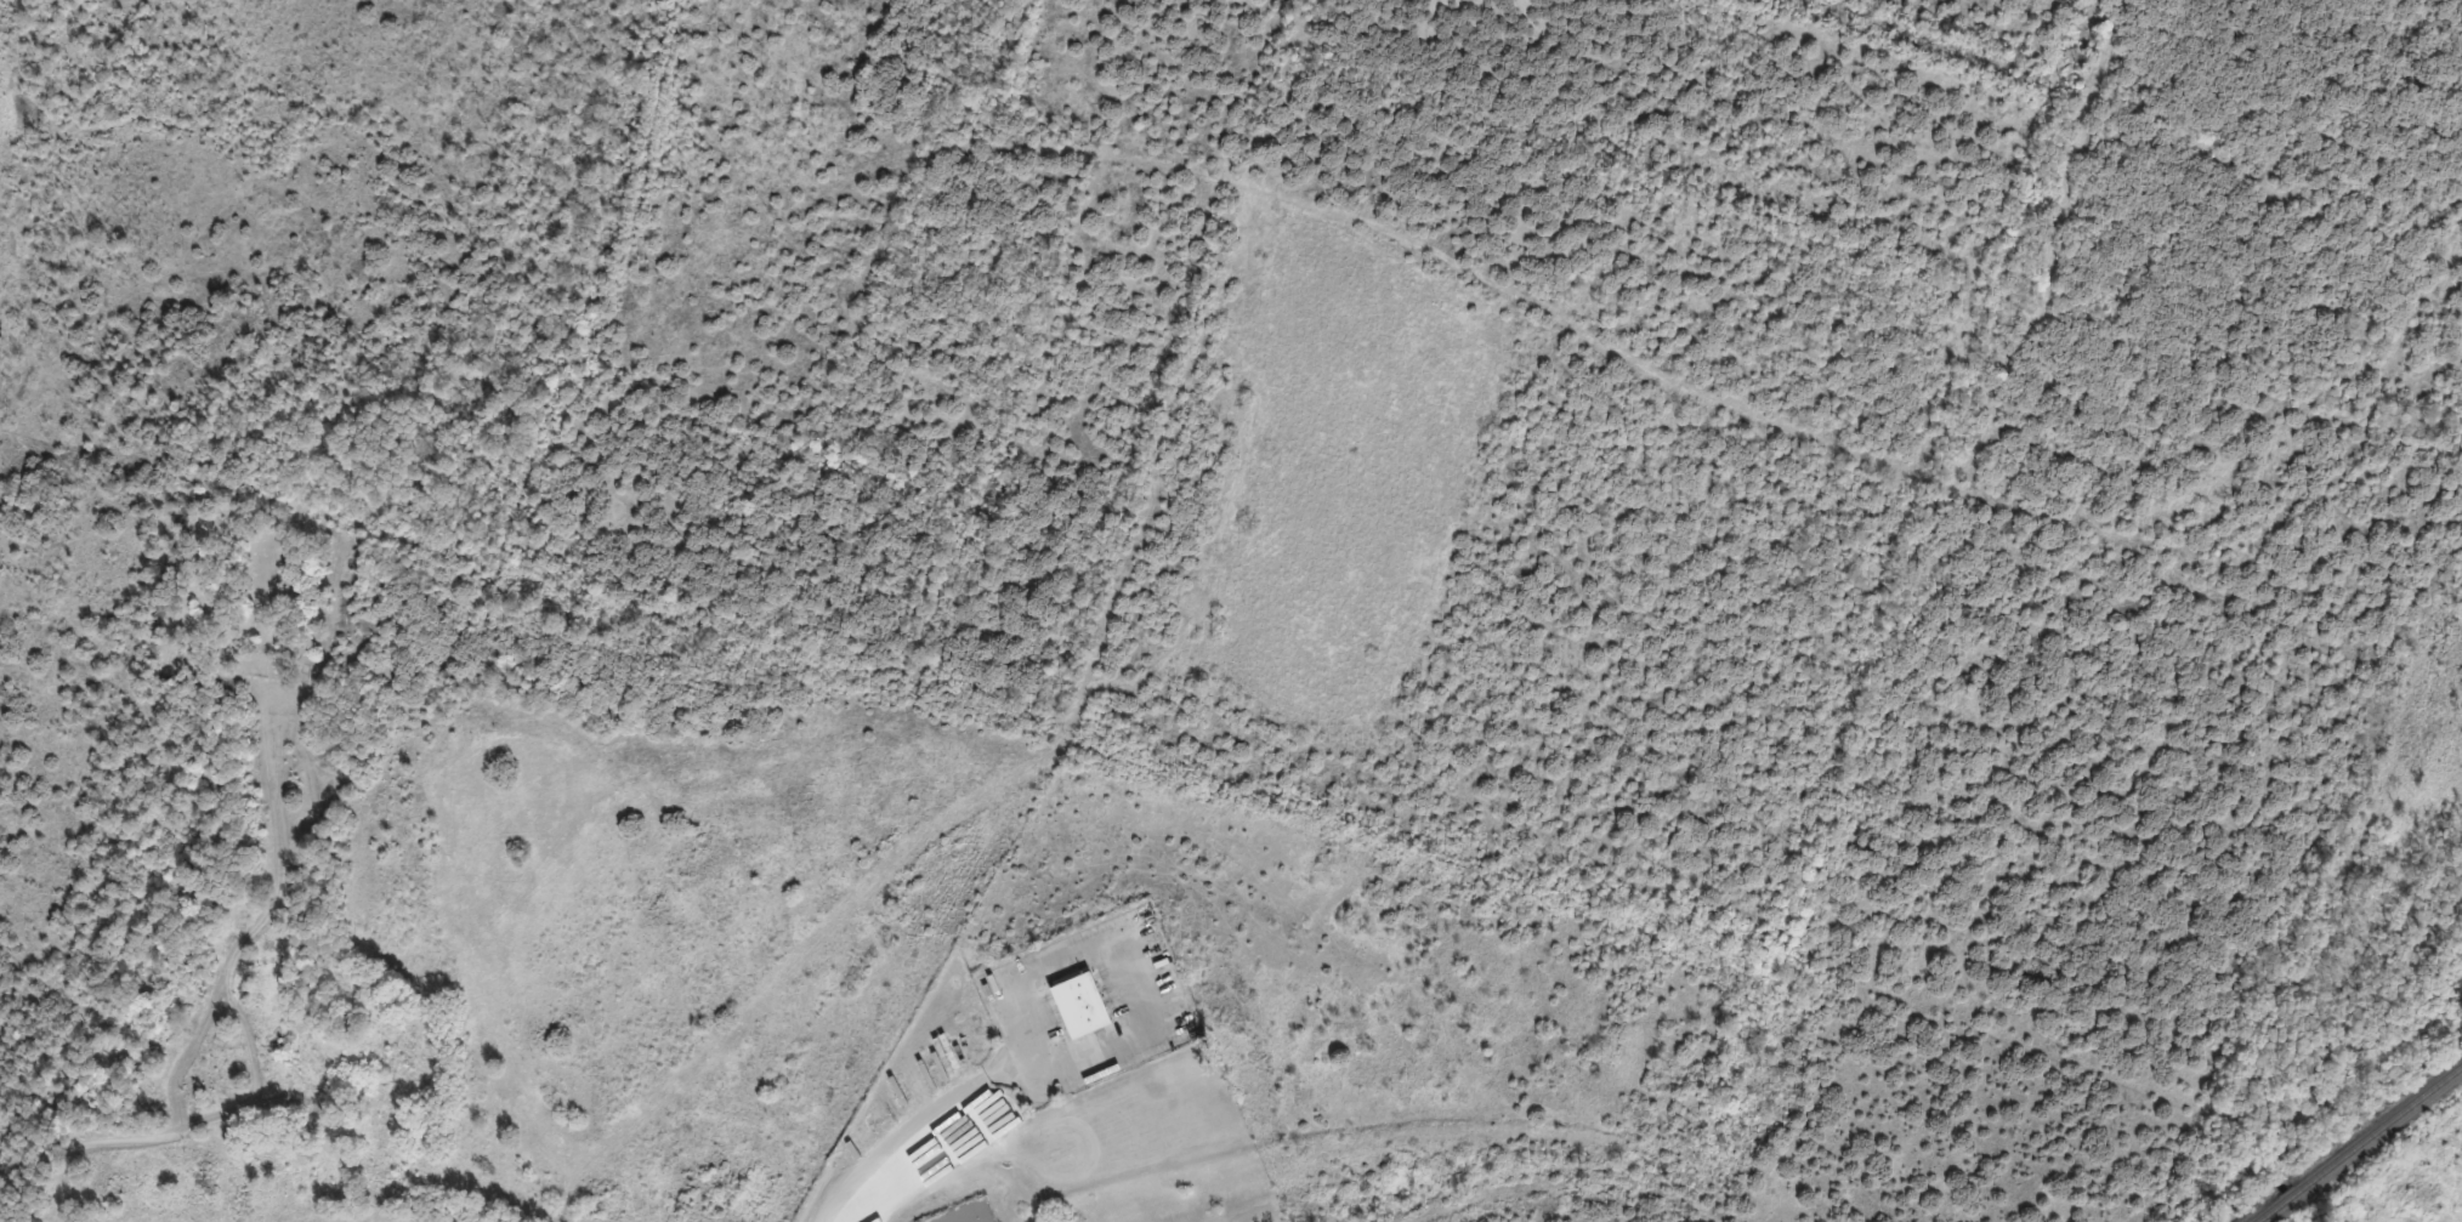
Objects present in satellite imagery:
road: (1134, 954)
building: (1082, 1006)
road: (917, 1122)
railway: (2364, 1146)
building: (969, 1214)

